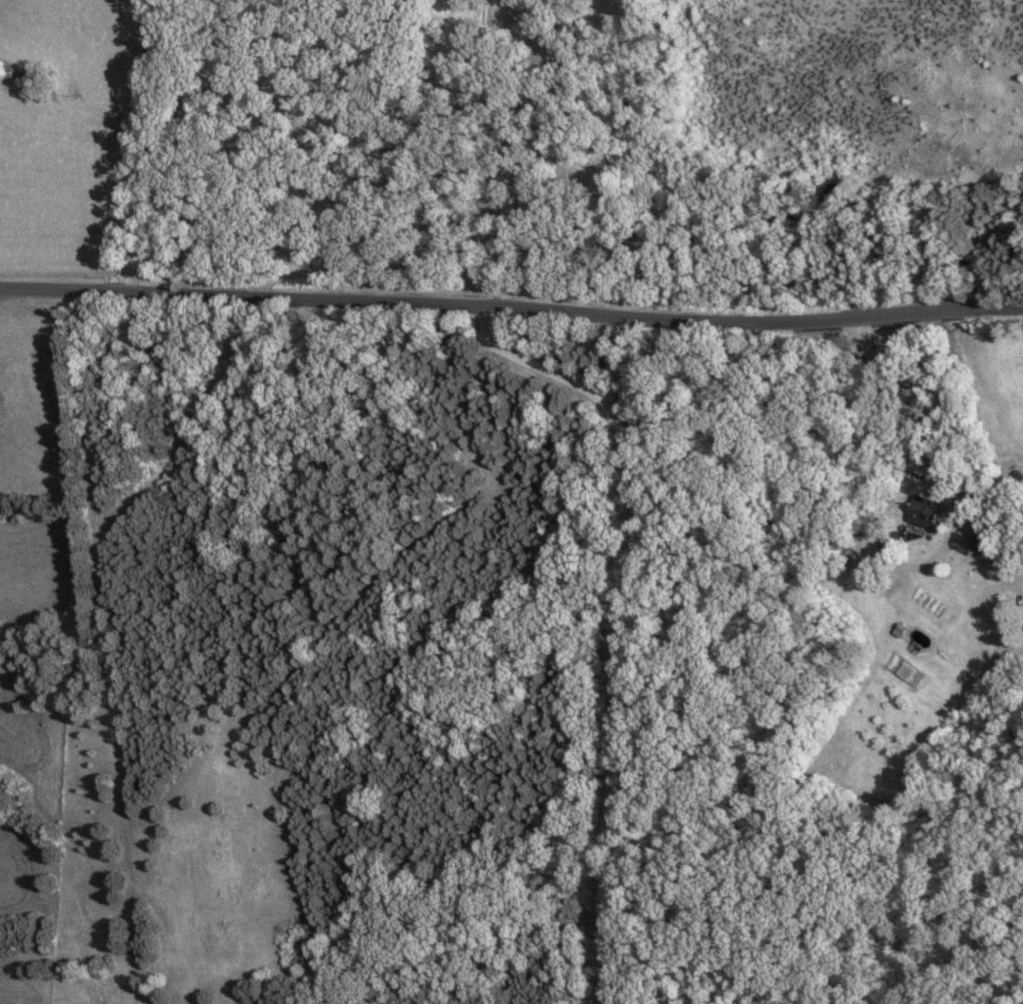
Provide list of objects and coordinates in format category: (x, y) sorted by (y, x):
road: (148, 144)
road: (511, 305)
road: (926, 449)
building: (921, 514)
building: (979, 542)
road: (1002, 545)
road: (629, 615)

